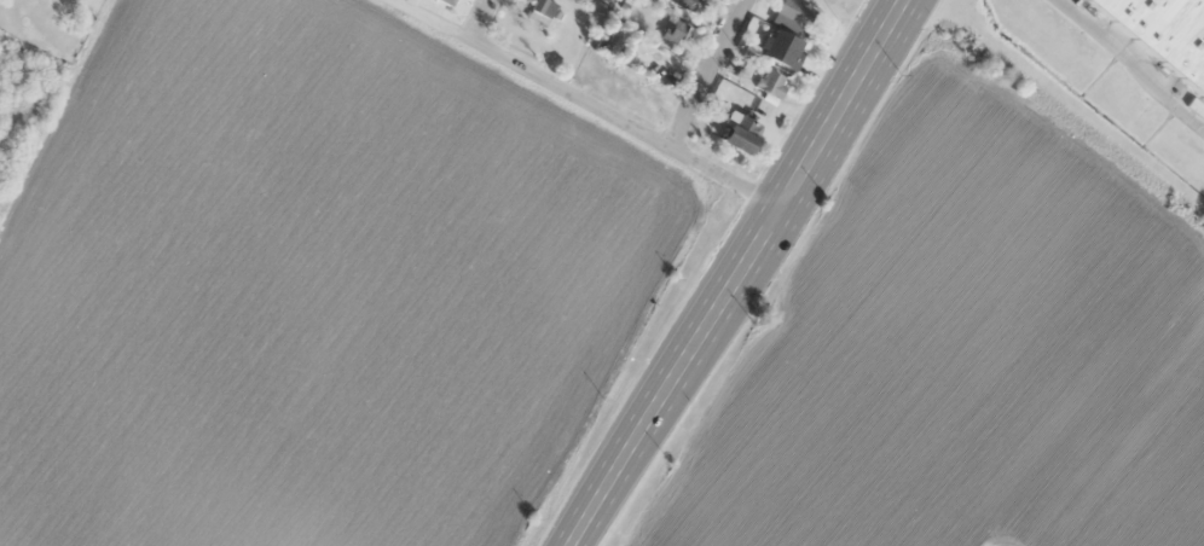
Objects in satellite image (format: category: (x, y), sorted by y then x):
building: (450, 0)
building: (689, 5)
building: (544, 7)
building: (793, 14)
road: (481, 18)
building: (1165, 30)
building: (677, 31)
building: (606, 40)
building: (781, 48)
road: (1135, 59)
road: (712, 72)
building: (772, 85)
road: (594, 101)
building: (741, 133)
road: (743, 274)

